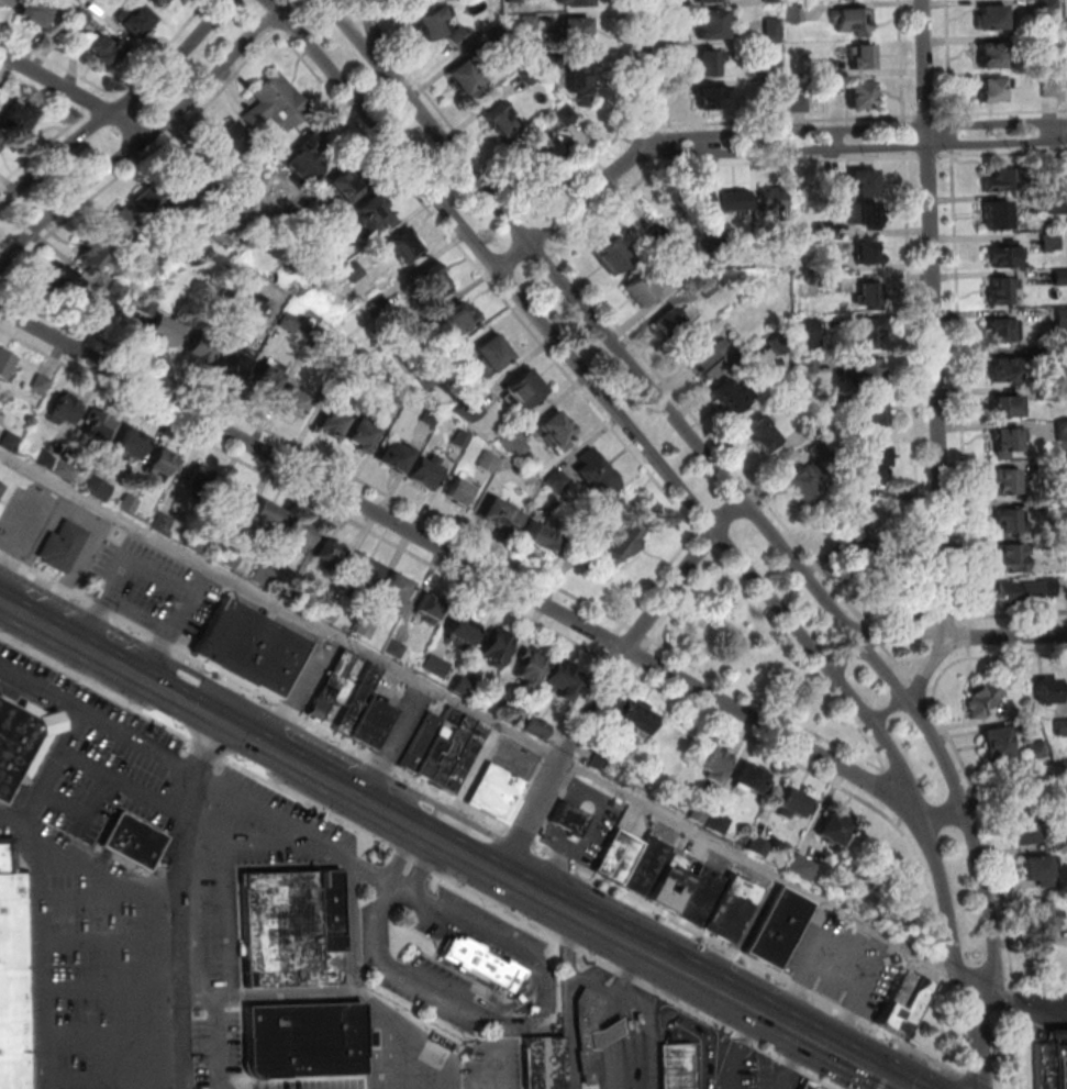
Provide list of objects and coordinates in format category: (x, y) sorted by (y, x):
road: (319, 0)
building: (154, 1)
building: (515, 1)
building: (774, 1)
building: (4, 2)
building: (708, 2)
building: (579, 3)
building: (1049, 5)
road: (255, 8)
road: (355, 9)
building: (32, 10)
road: (309, 10)
building: (796, 12)
road: (382, 14)
building: (983, 14)
building: (77, 16)
road: (371, 16)
building: (134, 18)
building: (855, 22)
road: (273, 23)
road: (292, 24)
building: (713, 29)
road: (376, 30)
building: (442, 30)
building: (775, 30)
road: (282, 31)
building: (501, 34)
building: (573, 36)
building: (1052, 44)
building: (97, 47)
building: (985, 55)
building: (864, 60)
building: (555, 62)
building: (711, 65)
building: (822, 70)
building: (532, 75)
building: (776, 75)
building: (466, 80)
building: (582, 85)
building: (986, 89)
building: (1052, 89)
road: (42, 90)
road: (114, 92)
road: (76, 96)
building: (862, 99)
building: (274, 100)
building: (714, 102)
road: (98, 104)
building: (778, 104)
building: (799, 105)
road: (118, 108)
road: (953, 113)
road: (951, 114)
building: (14, 115)
road: (910, 115)
road: (930, 115)
building: (564, 118)
road: (786, 121)
building: (503, 123)
road: (856, 131)
road: (954, 134)
road: (149, 136)
building: (227, 136)
road: (907, 136)
building: (1, 137)
road: (853, 146)
road: (40, 148)
building: (538, 152)
road: (951, 156)
road: (900, 157)
road: (911, 157)
road: (931, 157)
building: (303, 159)
road: (629, 162)
building: (180, 178)
building: (993, 178)
building: (338, 184)
building: (856, 185)
building: (147, 199)
building: (775, 203)
building: (698, 204)
building: (738, 204)
building: (1058, 205)
building: (371, 212)
building: (990, 213)
road: (527, 214)
building: (865, 215)
road: (533, 221)
building: (122, 229)
building: (830, 229)
road: (543, 234)
building: (660, 237)
building: (398, 243)
building: (1052, 243)
building: (708, 249)
building: (725, 249)
building: (998, 252)
building: (868, 256)
building: (93, 259)
building: (615, 259)
building: (148, 266)
building: (348, 269)
building: (831, 269)
building: (1060, 279)
road: (2, 285)
building: (65, 285)
building: (426, 285)
building: (232, 286)
building: (831, 286)
building: (708, 287)
building: (118, 289)
building: (992, 289)
road: (2, 291)
building: (642, 295)
building: (873, 297)
building: (257, 300)
building: (107, 303)
building: (146, 307)
building: (1062, 314)
building: (452, 316)
building: (289, 319)
road: (936, 320)
road: (596, 321)
building: (308, 325)
building: (164, 326)
building: (674, 327)
building: (994, 327)
building: (812, 335)
building: (869, 336)
building: (323, 337)
building: (200, 343)
building: (781, 345)
building: (485, 353)
building: (352, 358)
building: (232, 360)
building: (715, 363)
building: (4, 364)
building: (999, 365)
building: (811, 367)
building: (868, 375)
building: (257, 380)
road: (960, 380)
building: (41, 384)
building: (518, 387)
building: (1047, 392)
building: (732, 400)
building: (287, 401)
building: (829, 401)
building: (65, 405)
building: (468, 409)
building: (999, 409)
building: (875, 418)
building: (325, 421)
building: (99, 424)
building: (551, 429)
building: (811, 429)
building: (354, 433)
building: (1063, 433)
building: (763, 437)
building: (999, 440)
building: (10, 441)
building: (132, 441)
building: (512, 442)
building: (821, 452)
building: (388, 456)
building: (46, 459)
road: (662, 459)
building: (0, 460)
building: (487, 460)
building: (164, 463)
building: (586, 465)
building: (66, 469)
building: (1060, 469)
building: (873, 470)
building: (422, 471)
building: (1002, 478)
building: (201, 480)
road: (751, 482)
building: (808, 486)
building: (1, 488)
building: (99, 488)
building: (452, 490)
building: (233, 495)
road: (305, 496)
building: (1052, 499)
building: (129, 503)
building: (267, 512)
road: (81, 515)
building: (494, 516)
building: (1001, 519)
building: (163, 523)
road: (700, 533)
building: (299, 534)
building: (537, 535)
building: (197, 540)
building: (1063, 542)
road: (707, 543)
building: (63, 544)
building: (613, 544)
building: (869, 544)
road: (486, 547)
building: (330, 552)
road: (715, 552)
parking lot: (84, 553)
building: (1003, 556)
building: (231, 557)
road: (459, 558)
road: (124, 568)
building: (365, 573)
building: (263, 578)
building: (1044, 584)
building: (1025, 589)
parking lot: (154, 590)
building: (398, 593)
building: (430, 608)
building: (330, 612)
road: (957, 619)
road: (865, 621)
road: (177, 623)
building: (463, 625)
road: (627, 626)
building: (365, 627)
road: (621, 629)
road: (903, 629)
road: (637, 632)
road: (1007, 635)
road: (876, 636)
road: (612, 640)
road: (652, 640)
road: (646, 643)
building: (248, 646)
building: (498, 647)
building: (396, 649)
road: (1020, 655)
road: (847, 656)
road: (642, 657)
road: (612, 663)
road: (900, 664)
building: (435, 665)
building: (531, 667)
road: (634, 669)
parking lot: (310, 674)
road: (609, 676)
building: (563, 677)
building: (331, 685)
building: (464, 686)
road: (921, 688)
road: (300, 690)
road: (255, 691)
road: (922, 691)
building: (341, 692)
building: (1051, 692)
building: (986, 700)
building: (358, 701)
building: (497, 702)
road: (933, 703)
building: (635, 712)
road: (478, 715)
road: (97, 720)
building: (370, 723)
parking lot: (404, 724)
building: (536, 726)
building: (1062, 727)
road: (199, 740)
road: (556, 740)
building: (18, 741)
road: (394, 742)
building: (998, 743)
building: (421, 744)
building: (437, 744)
road: (762, 744)
road: (843, 747)
building: (1037, 748)
building: (451, 752)
building: (464, 759)
building: (601, 760)
building: (714, 760)
building: (752, 776)
building: (498, 792)
road: (891, 794)
road: (1009, 799)
building: (791, 800)
road: (962, 803)
building: (700, 812)
road: (982, 812)
road: (944, 814)
road: (84, 816)
building: (571, 816)
road: (185, 819)
road: (12, 822)
building: (719, 822)
road: (897, 822)
parking lot: (604, 823)
road: (418, 826)
building: (834, 826)
building: (1026, 827)
road: (522, 835)
building: (132, 840)
building: (1060, 841)
building: (758, 846)
road: (403, 853)
building: (619, 853)
road: (403, 855)
road: (77, 859)
road: (414, 859)
road: (426, 865)
building: (646, 865)
building: (802, 867)
road: (423, 868)
building: (1038, 868)
building: (670, 881)
road: (46, 891)
road: (115, 892)
building: (700, 894)
road: (185, 900)
building: (730, 907)
building: (1046, 916)
building: (288, 924)
building: (778, 925)
road: (115, 941)
road: (509, 944)
parking lot: (455, 954)
road: (745, 958)
building: (479, 962)
parking lot: (843, 966)
building: (15, 974)
road: (636, 976)
road: (968, 980)
road: (593, 984)
road: (115, 986)
road: (349, 988)
building: (549, 996)
road: (568, 999)
building: (901, 1000)
road: (1011, 1005)
road: (1022, 1010)
road: (622, 1015)
road: (220, 1024)
road: (389, 1027)
building: (589, 1032)
road: (115, 1033)
road: (979, 1036)
building: (302, 1040)
road: (900, 1046)
parking lot: (1052, 1048)
parking lot: (707, 1051)
road: (1013, 1053)
road: (492, 1059)
parking lot: (492, 1060)
building: (541, 1062)
building: (674, 1065)
building: (1045, 1067)
road: (887, 1069)
road: (866, 1071)
parking lot: (773, 1075)
road: (116, 1079)
road: (972, 1081)
building: (805, 1085)

